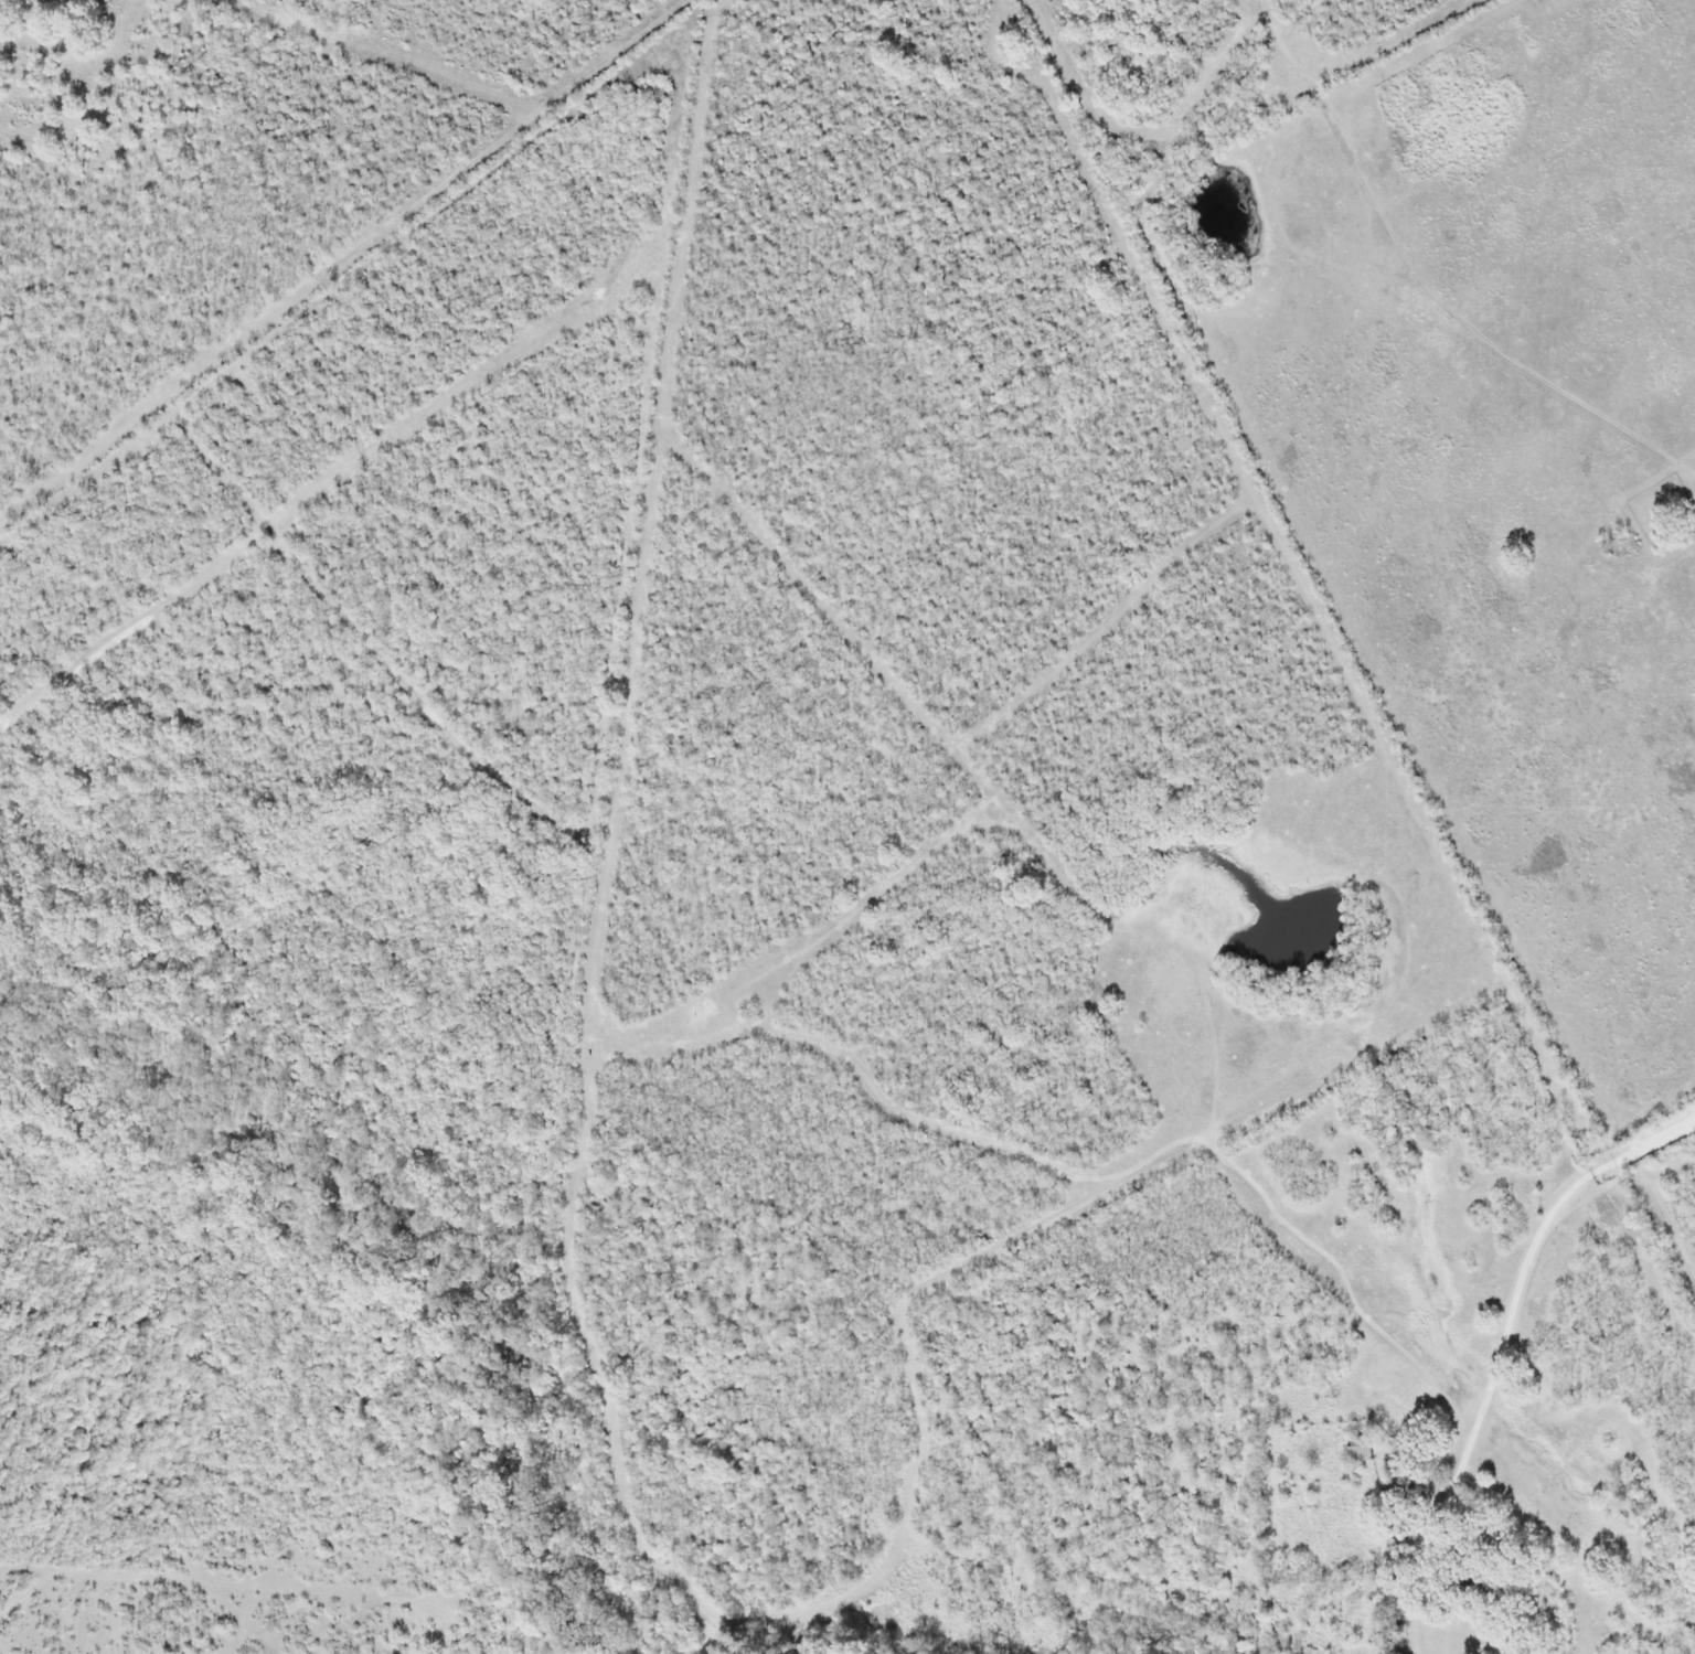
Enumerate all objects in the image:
road: (1666, 1137)
road: (1517, 1291)

